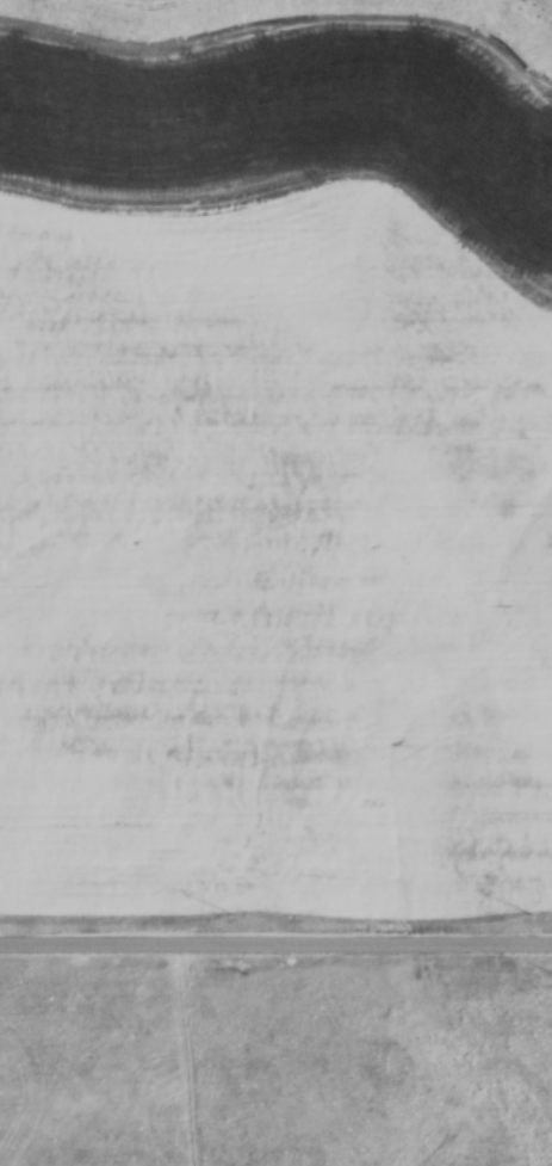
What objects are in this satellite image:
road: (275, 939)

